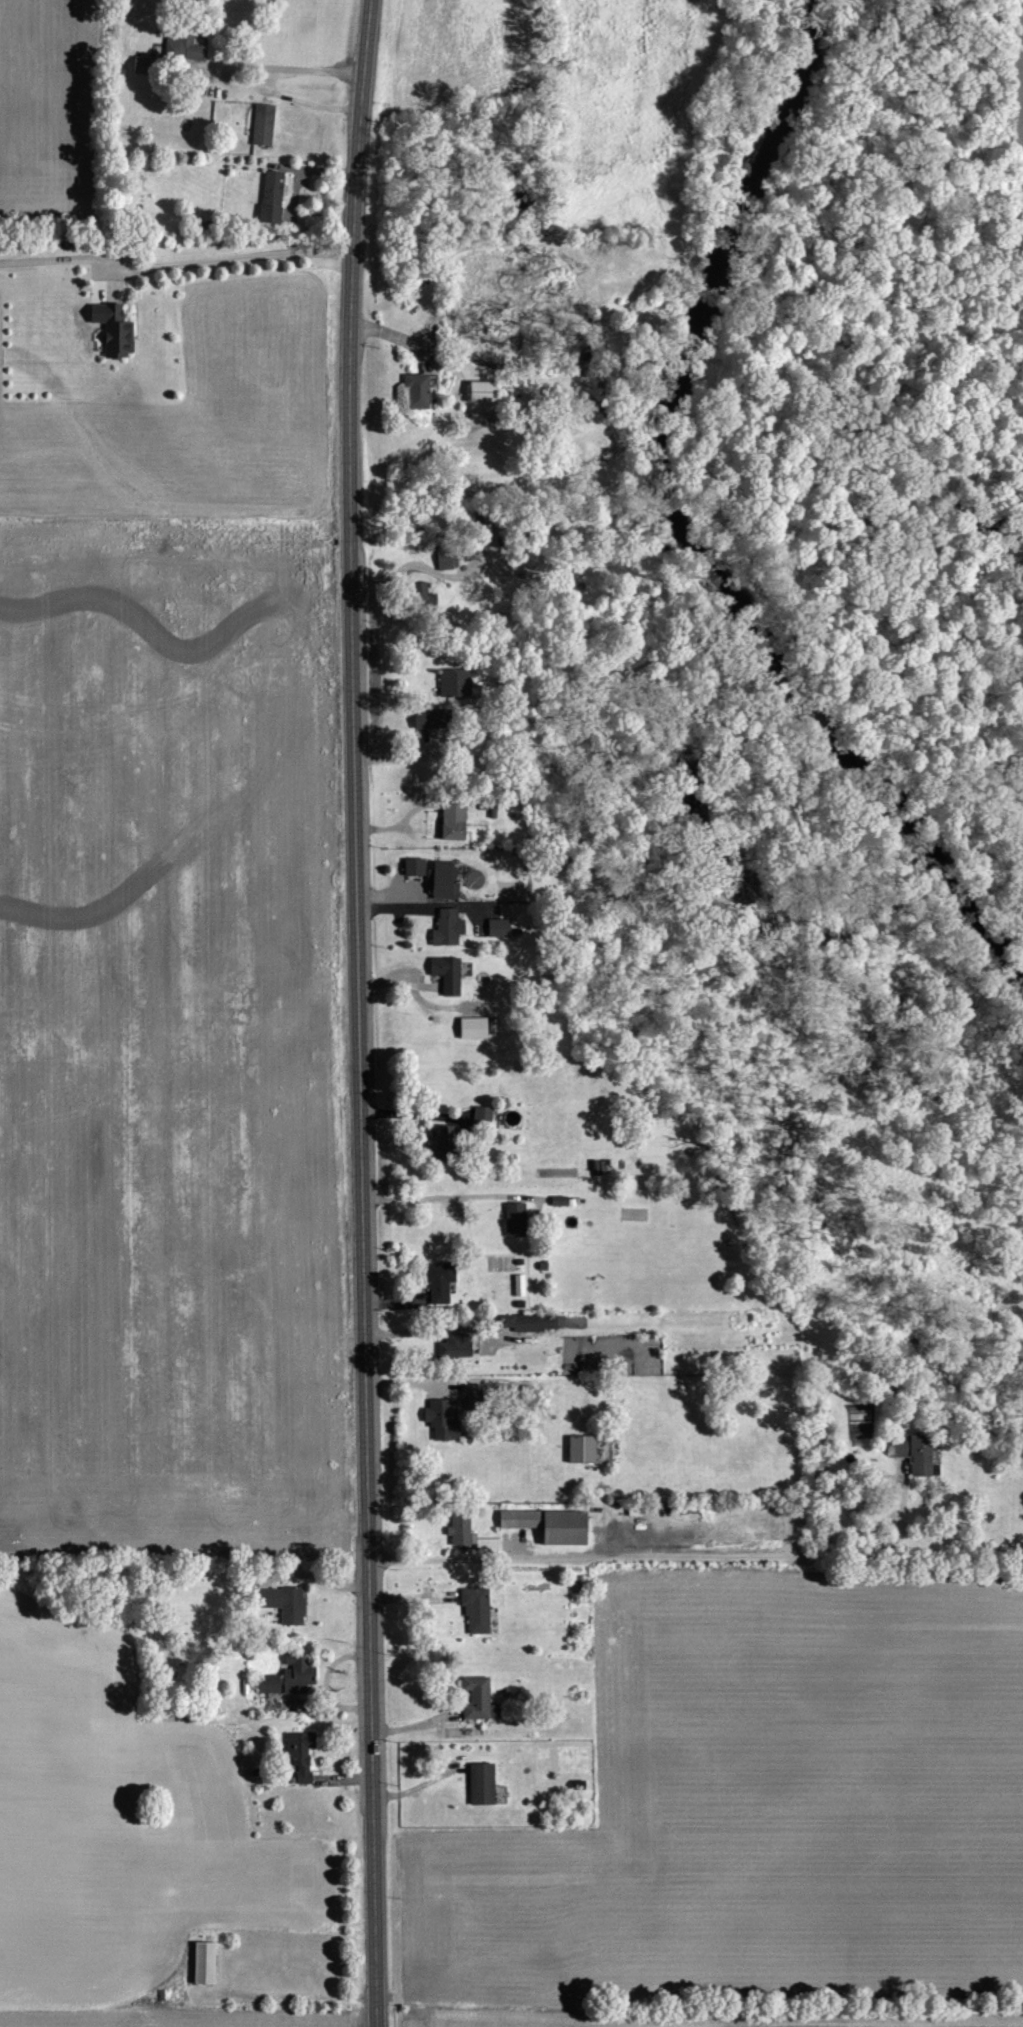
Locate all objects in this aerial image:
building: (139, 64)
road: (272, 65)
building: (260, 125)
building: (270, 195)
road: (176, 262)
building: (112, 329)
building: (414, 389)
building: (478, 390)
building: (453, 682)
building: (425, 718)
building: (451, 820)
building: (413, 866)
building: (442, 878)
building: (445, 926)
building: (496, 926)
building: (445, 973)
road: (359, 1013)
building: (470, 1027)
building: (481, 1115)
building: (441, 1136)
building: (600, 1166)
road: (443, 1194)
building: (512, 1219)
building: (438, 1281)
building: (530, 1321)
road: (424, 1329)
building: (456, 1344)
building: (442, 1418)
building: (579, 1447)
building: (914, 1452)
building: (546, 1524)
building: (458, 1528)
road: (631, 1558)
building: (283, 1601)
building: (475, 1609)
building: (295, 1672)
building: (266, 1682)
building: (477, 1698)
building: (298, 1752)
building: (480, 1782)
building: (201, 1962)
road: (228, 1975)
road: (290, 1995)

